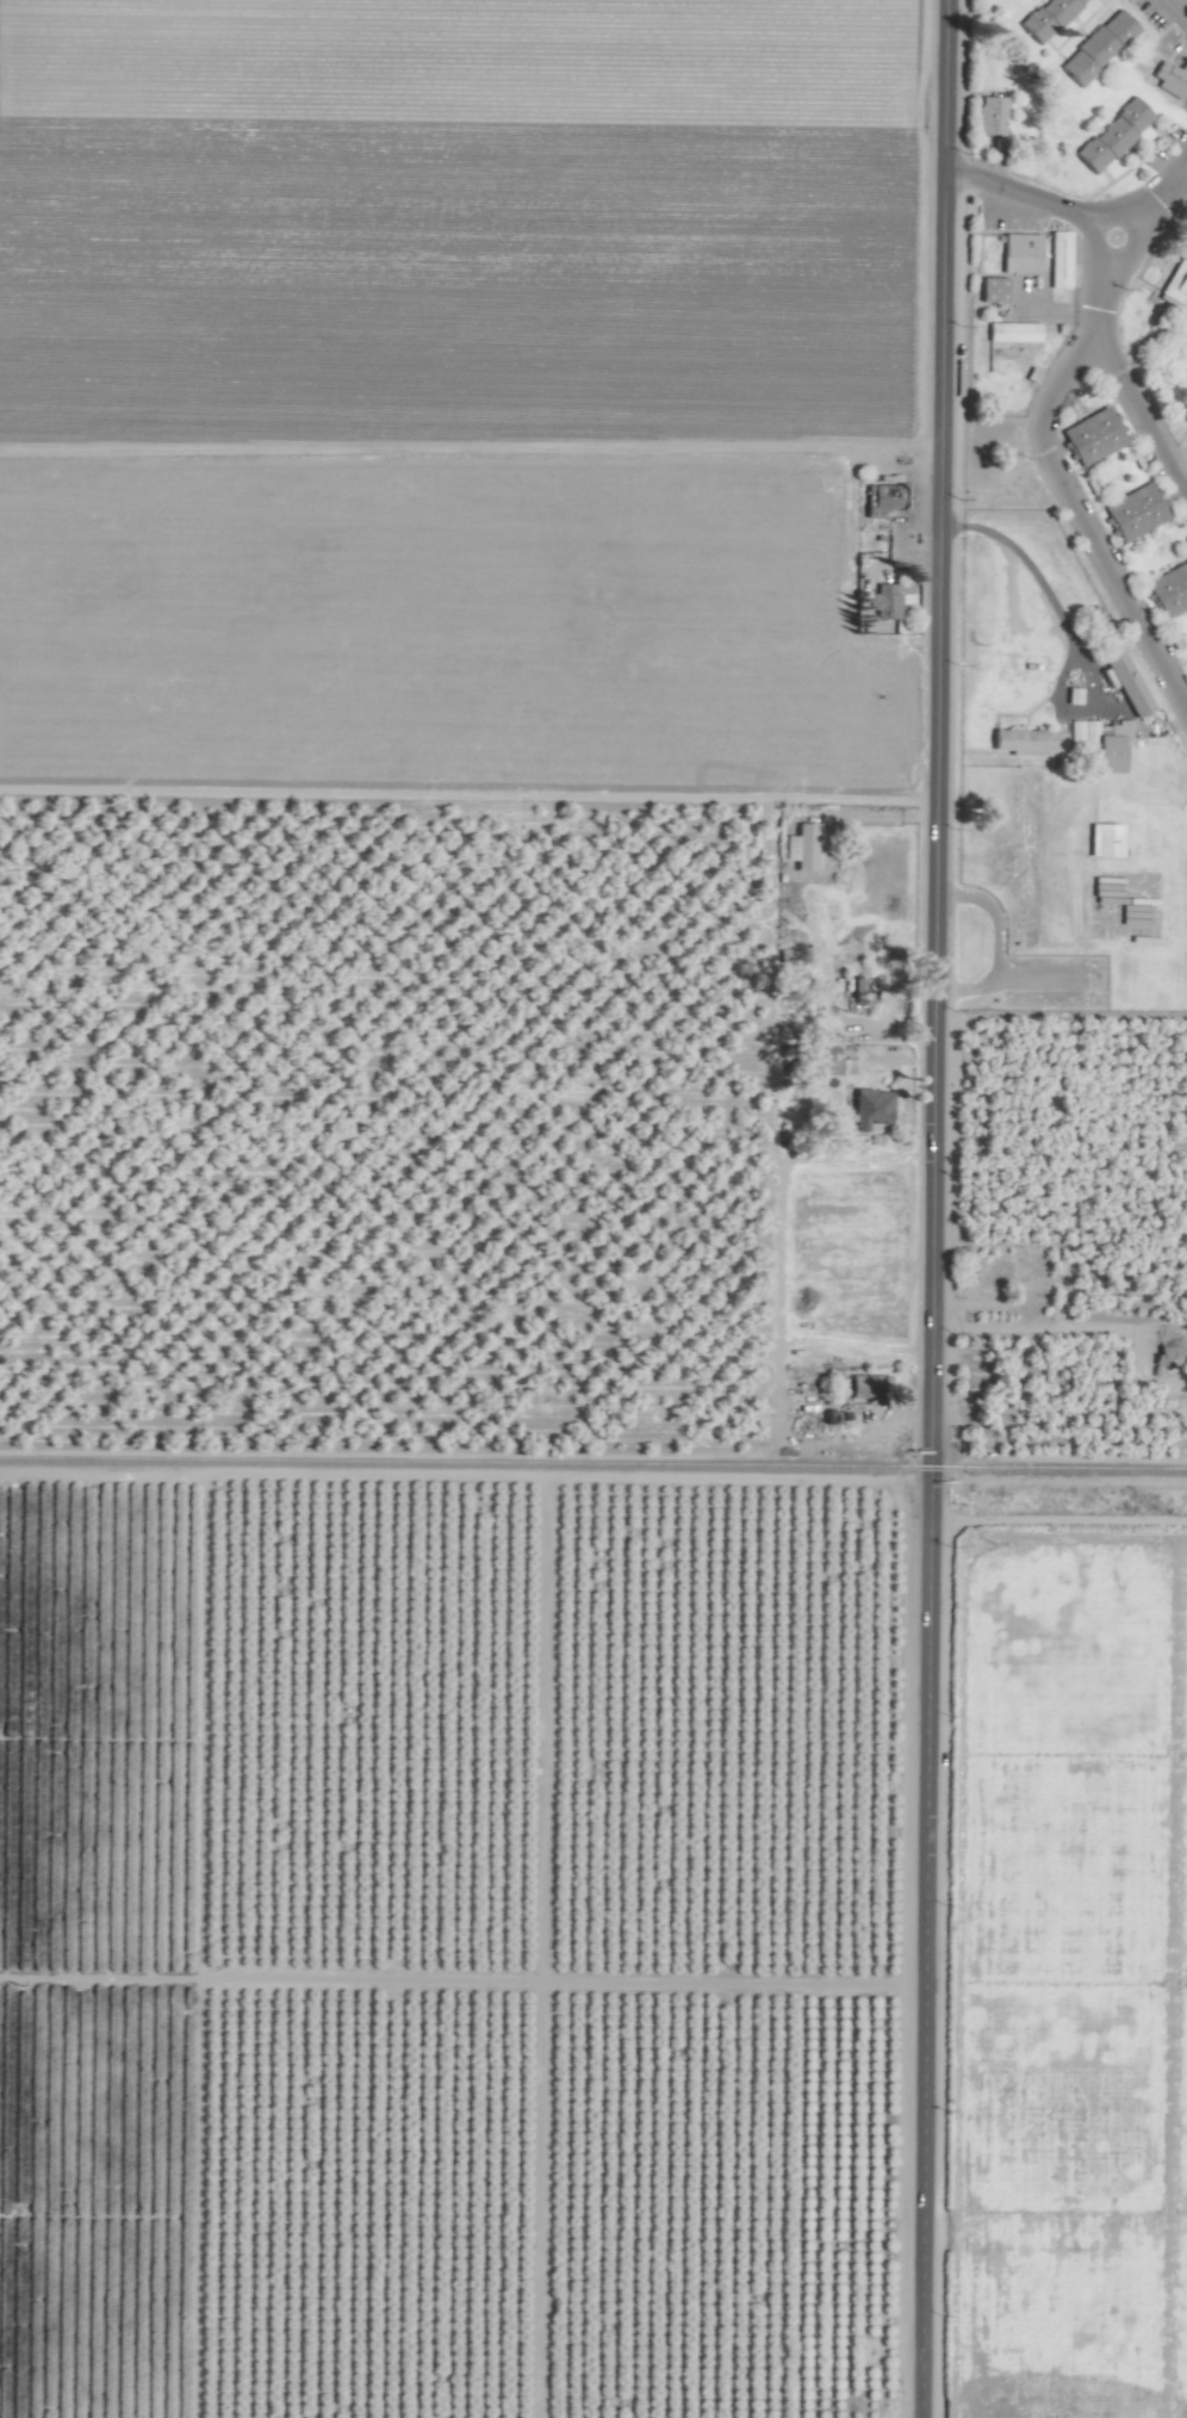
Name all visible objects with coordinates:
road: (1173, 14)
building: (1048, 18)
building: (1096, 49)
building: (1169, 81)
building: (989, 116)
building: (1112, 135)
road: (1181, 180)
road: (1018, 191)
road: (1162, 192)
road: (1138, 248)
building: (1019, 253)
building: (1058, 259)
building: (1175, 287)
building: (992, 290)
building: (1012, 331)
road: (1137, 422)
building: (1090, 436)
road: (1062, 494)
building: (882, 500)
building: (1135, 513)
building: (1169, 590)
building: (881, 609)
road: (1067, 630)
building: (1186, 658)
building: (1125, 682)
building: (1071, 696)
building: (1027, 743)
building: (1099, 743)
building: (1020, 788)
building: (1104, 841)
building: (800, 848)
building: (835, 1067)
building: (869, 1109)
road: (931, 1208)
crop: (552, 1269)
building: (1166, 1347)
building: (860, 1387)
railway: (592, 1465)
road: (1057, 1520)

